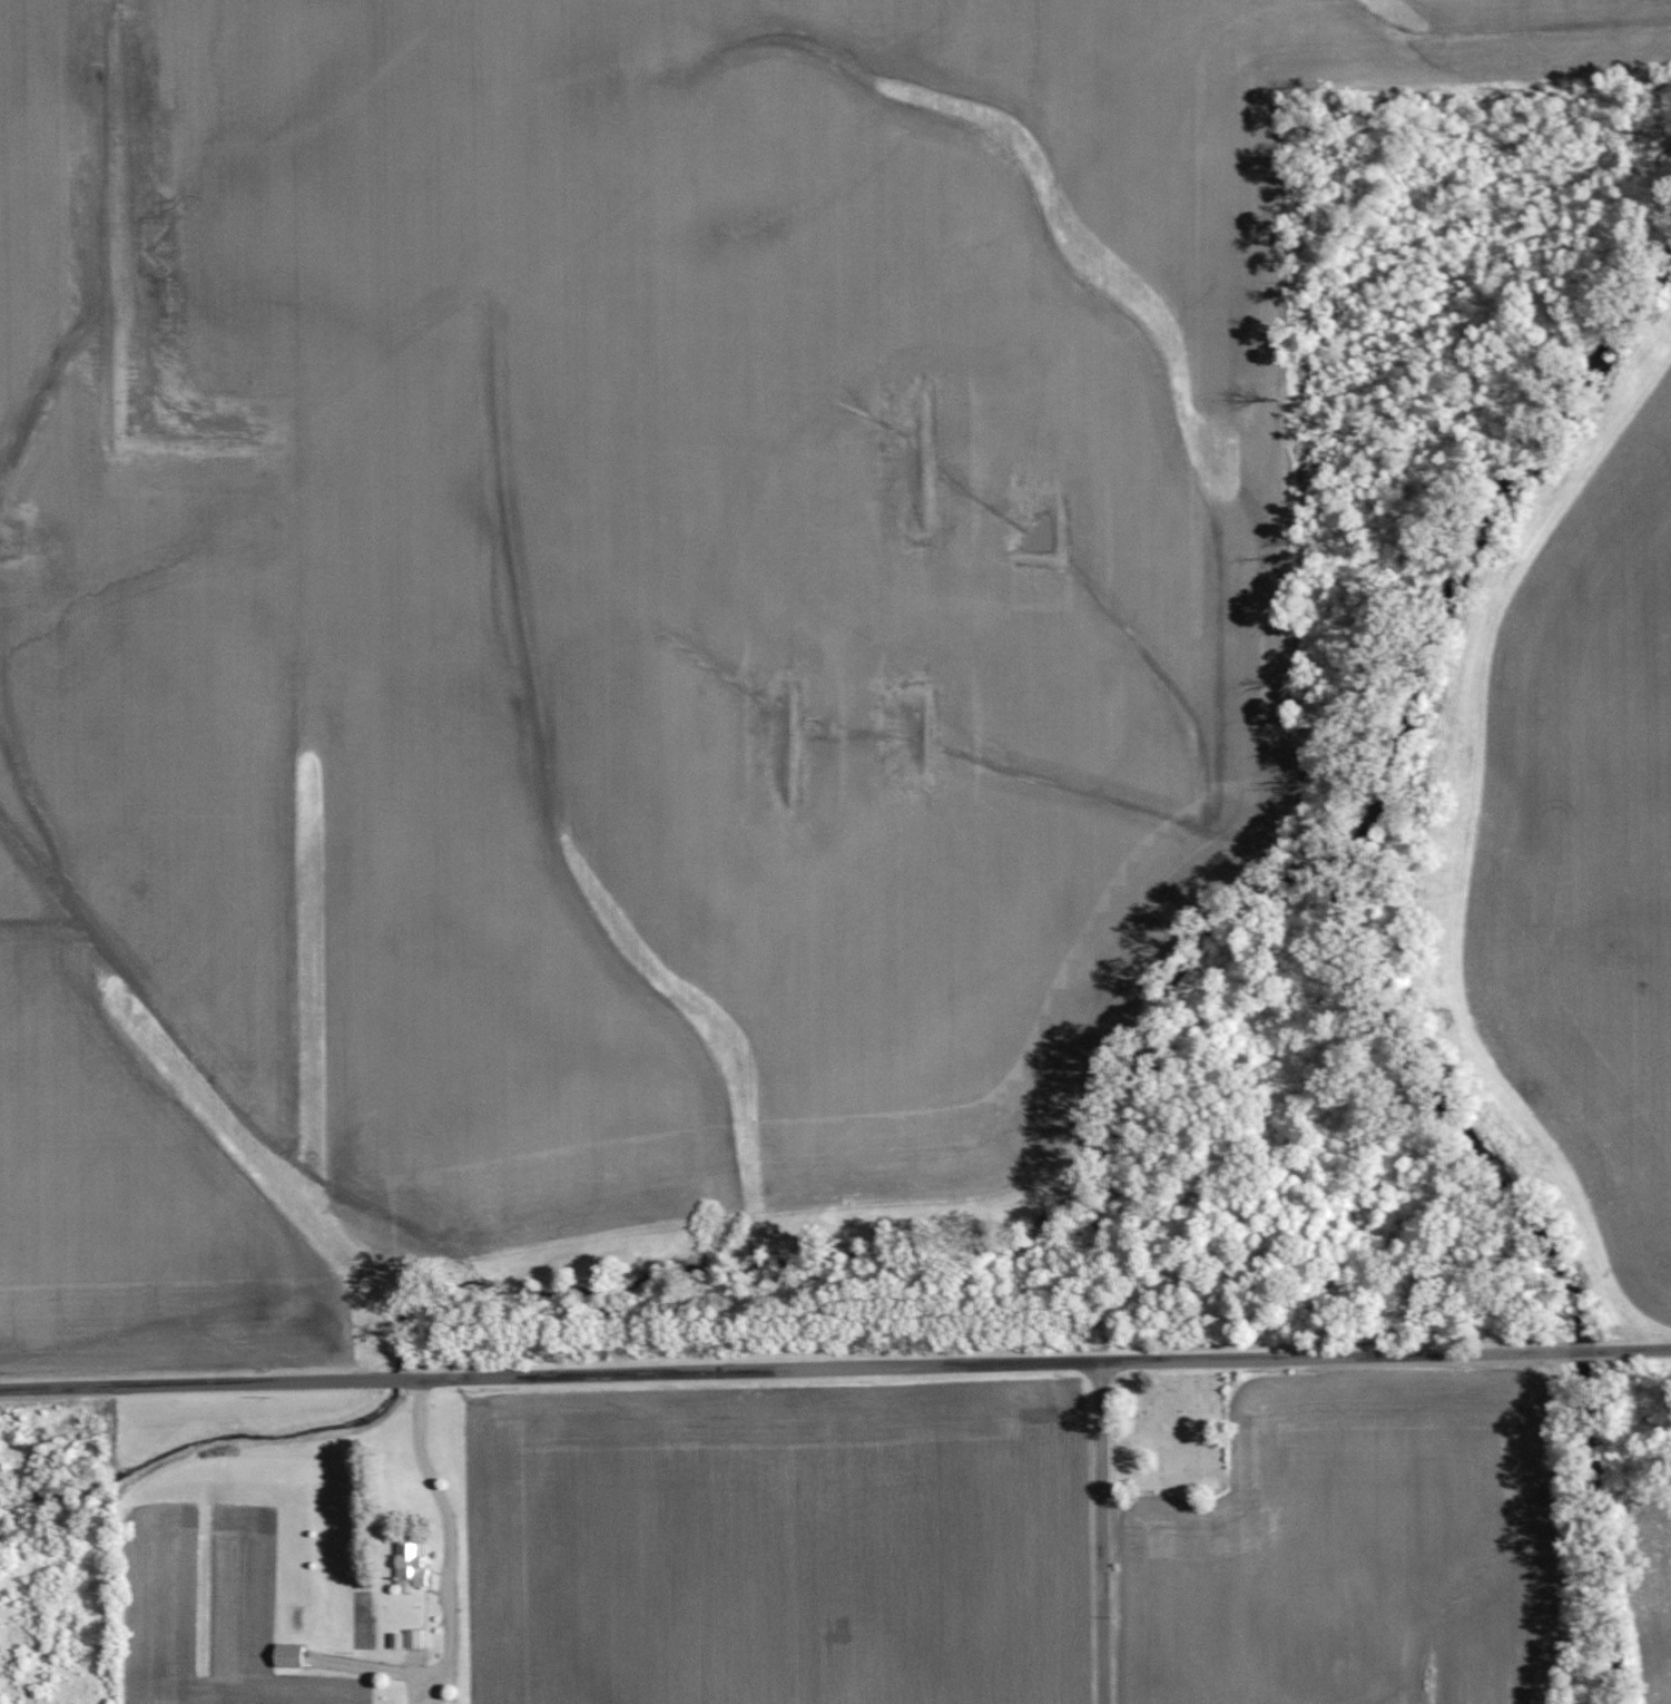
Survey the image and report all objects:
road: (835, 1365)
road: (431, 1476)
road: (1100, 1530)
building: (407, 1563)

